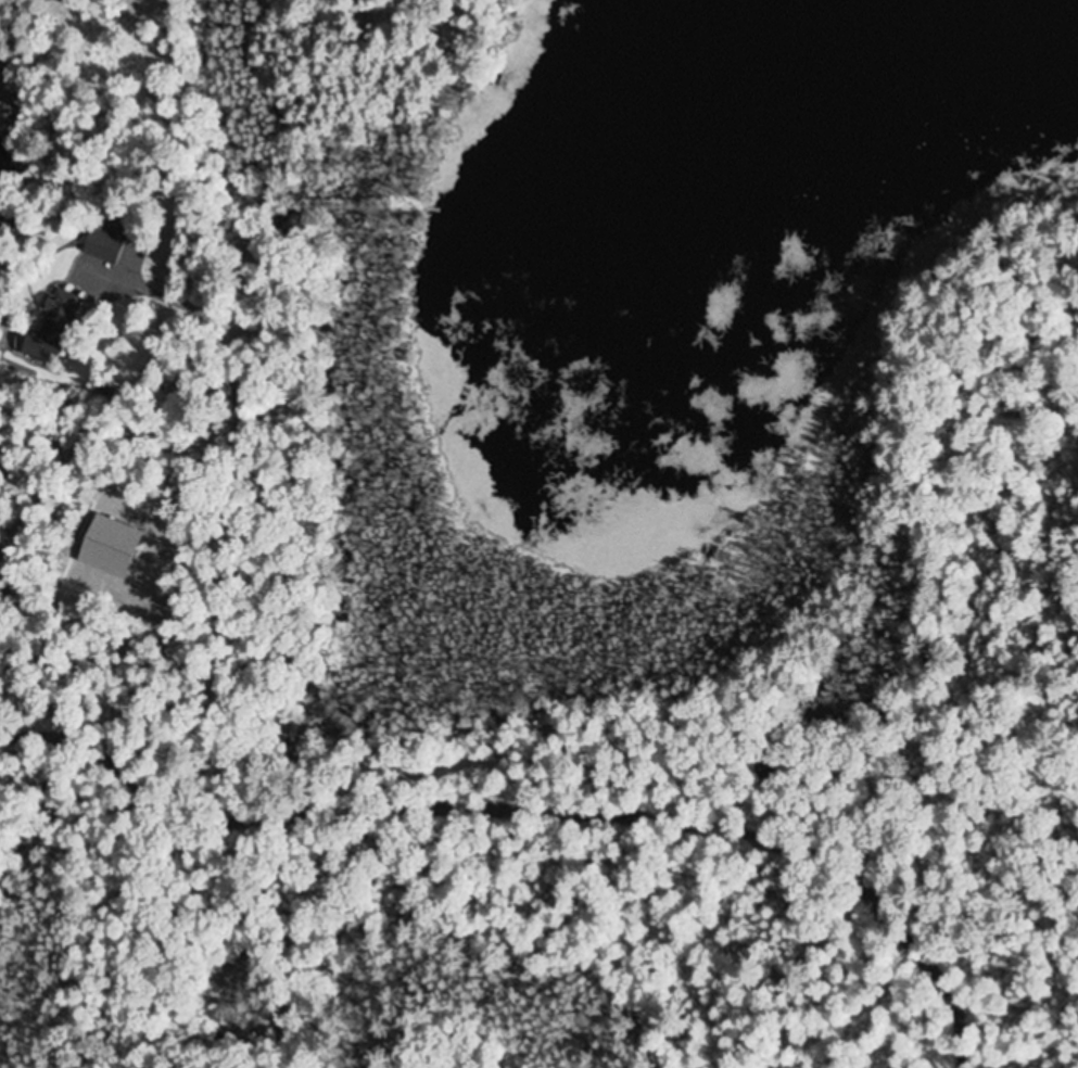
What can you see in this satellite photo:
building: (101, 245)
road: (90, 254)
road: (86, 304)
building: (43, 338)
road: (33, 689)
road: (537, 801)

